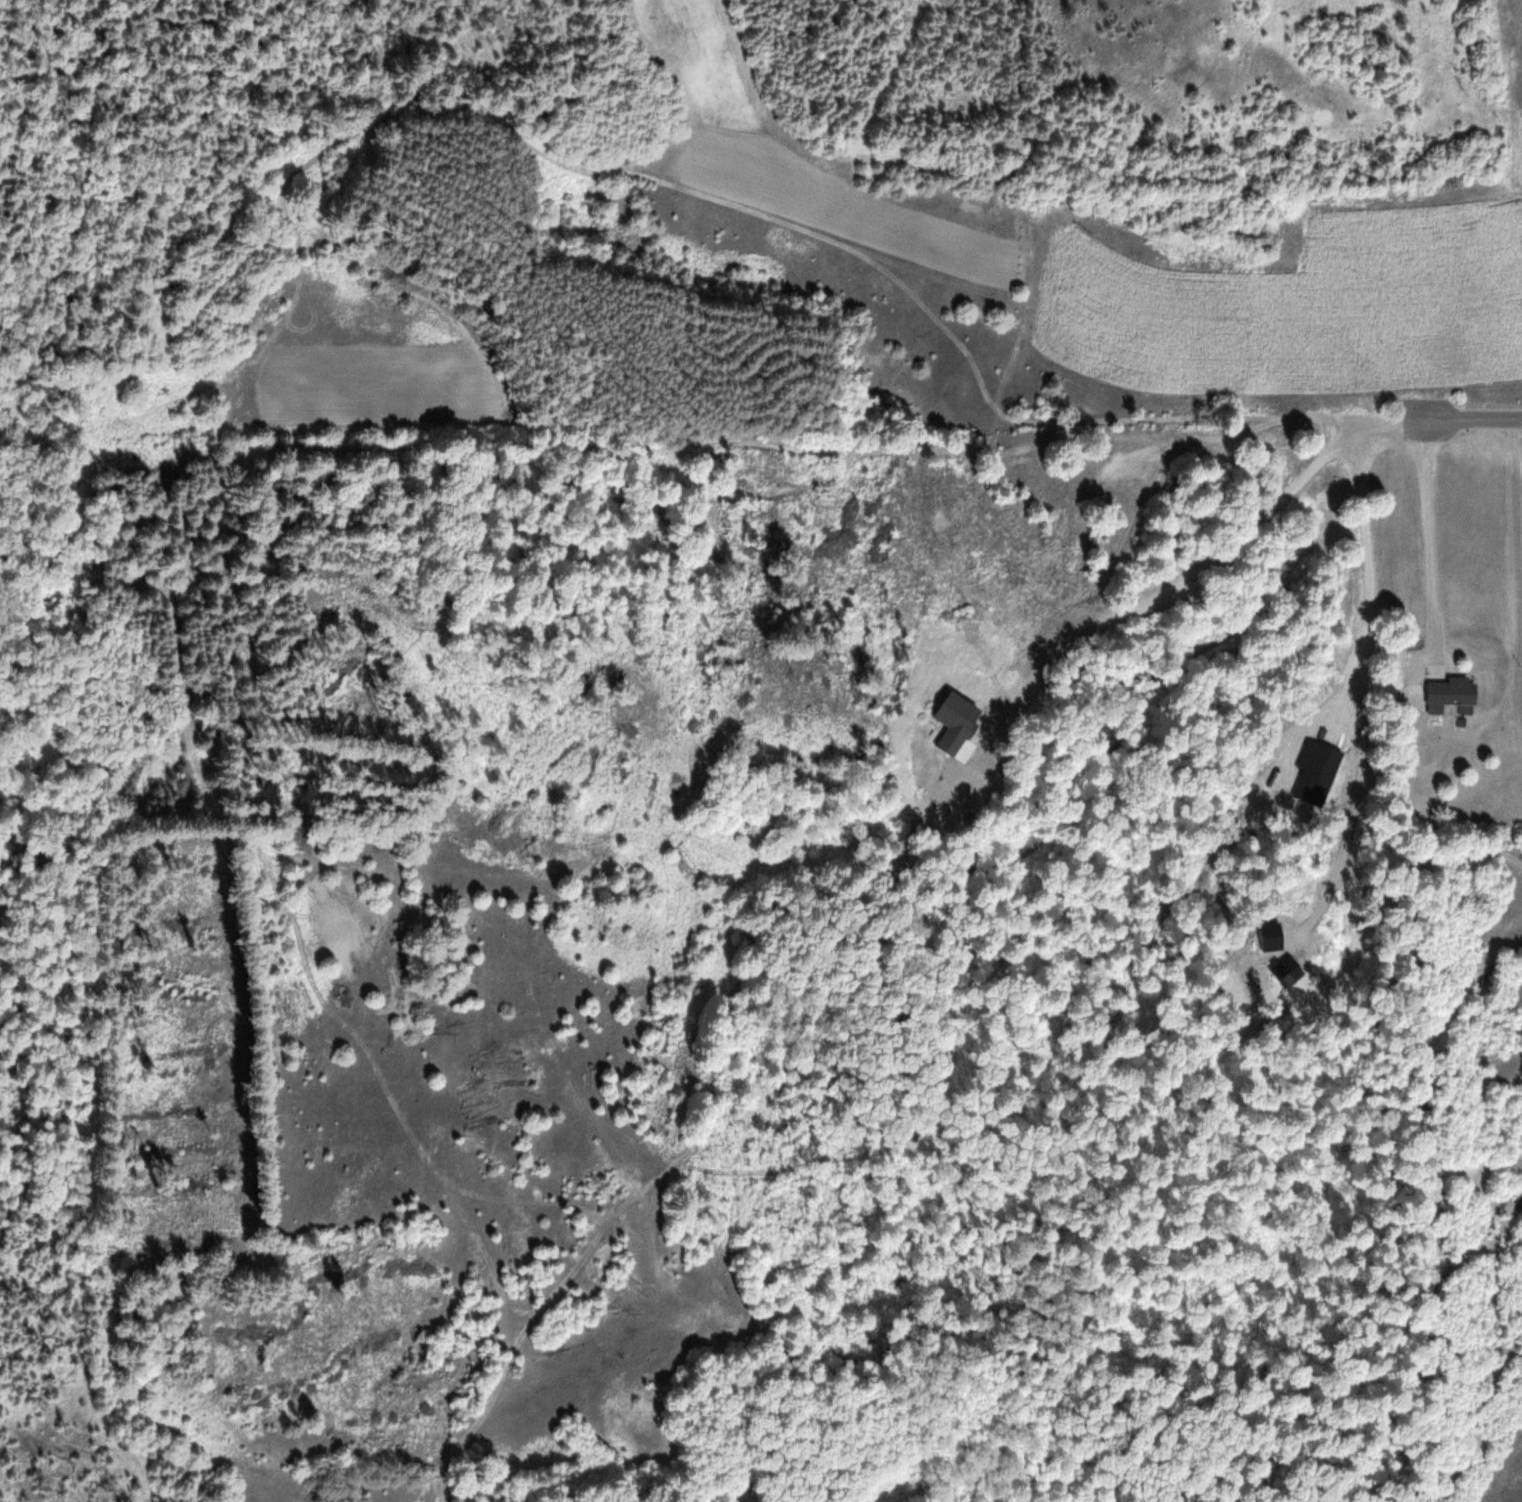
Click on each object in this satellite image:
road: (1469, 423)
building: (1451, 694)

